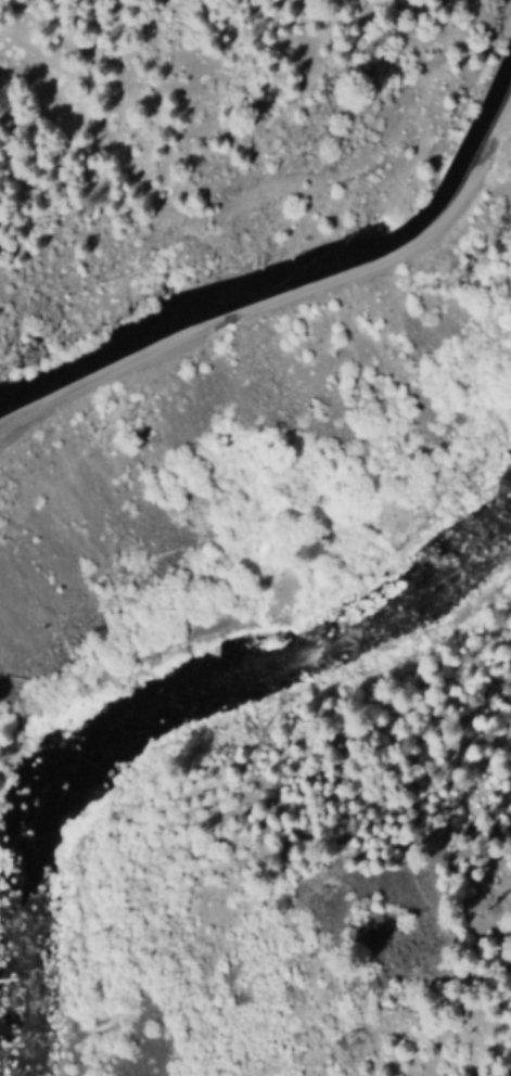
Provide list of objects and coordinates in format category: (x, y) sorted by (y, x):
road: (288, 295)
river: (151, 709)

